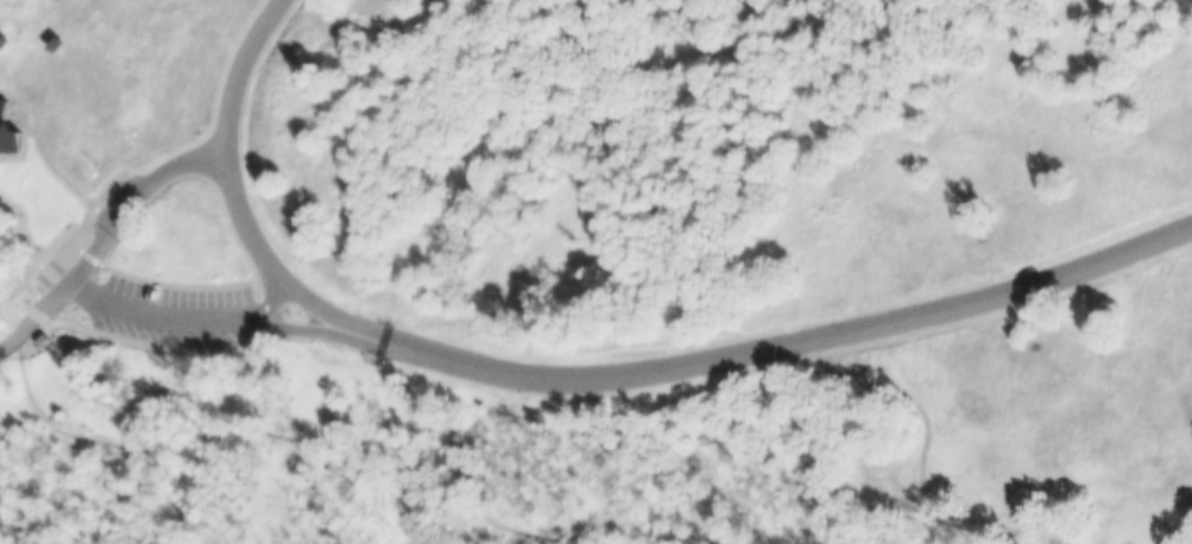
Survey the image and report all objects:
road: (229, 69)
building: (8, 128)
road: (53, 165)
road: (112, 202)
road: (29, 238)
road: (18, 276)
road: (194, 309)
road: (19, 320)
road: (661, 365)

